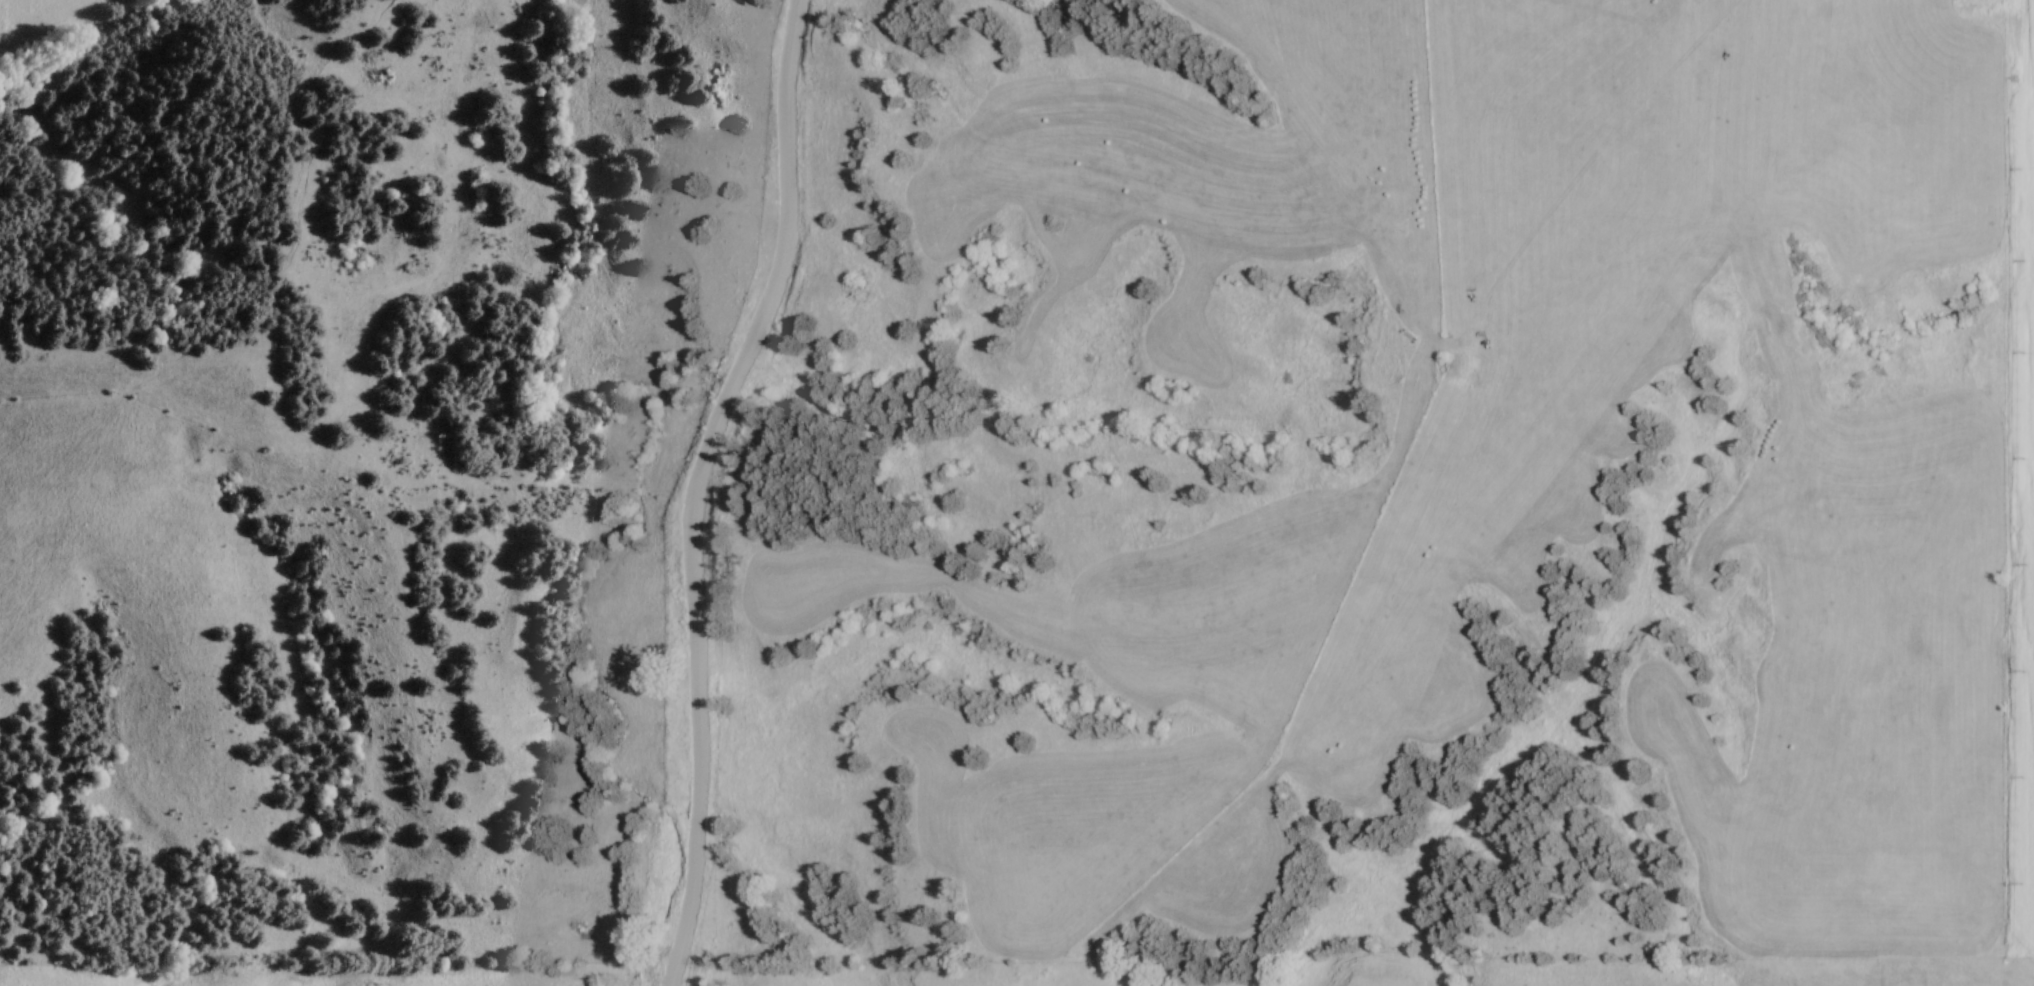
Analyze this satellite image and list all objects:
road: (698, 486)

